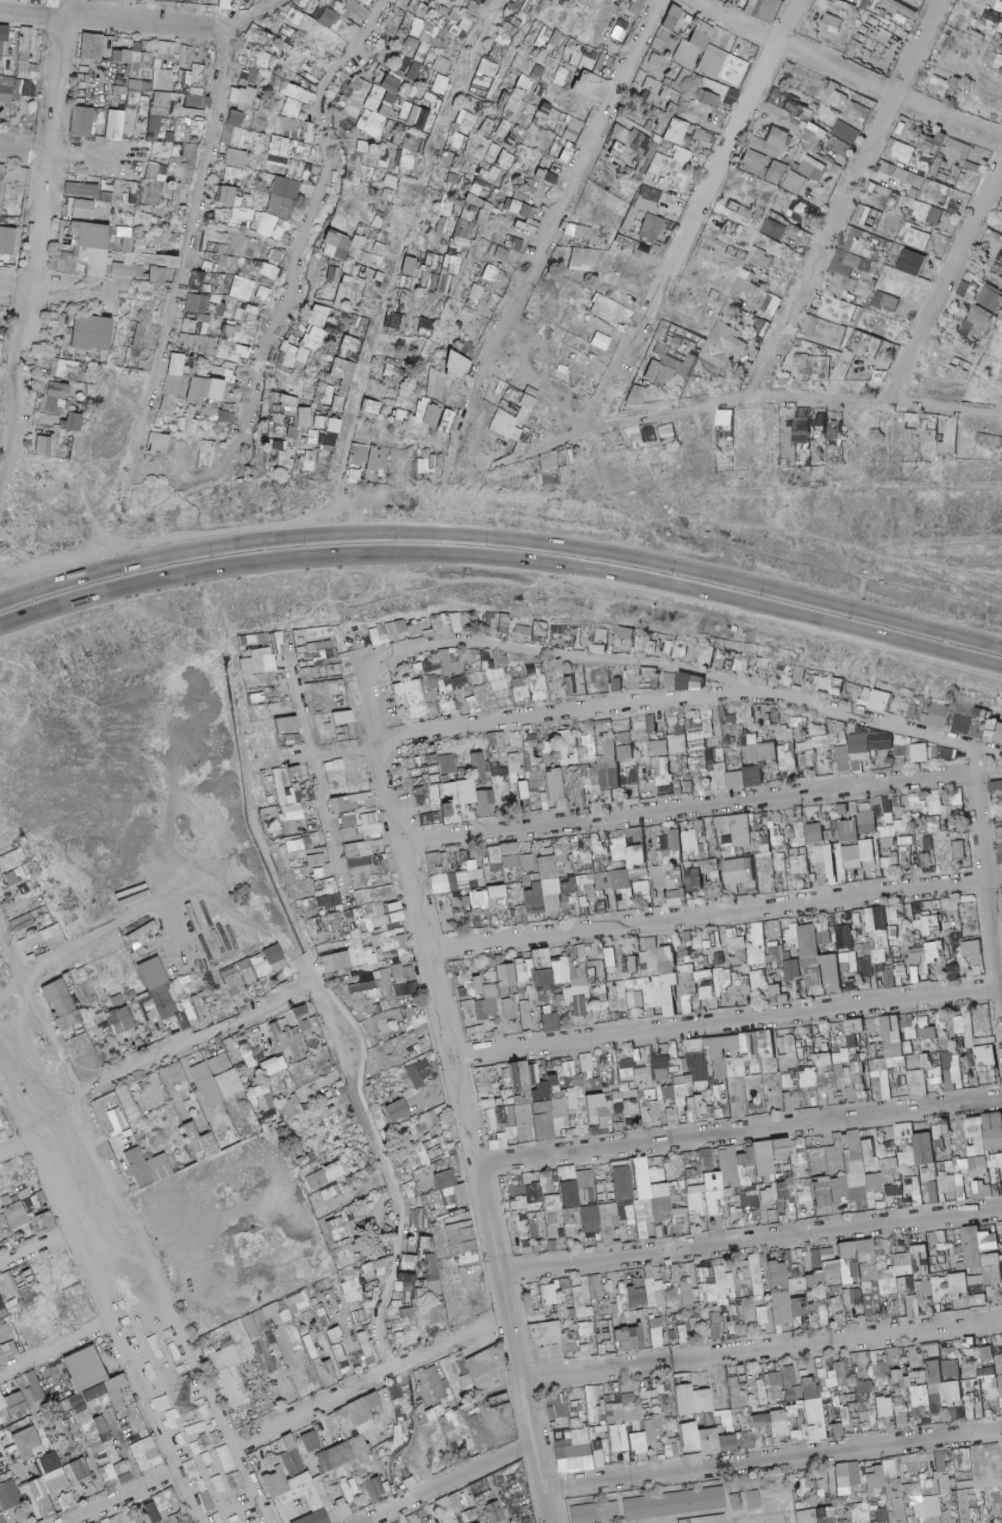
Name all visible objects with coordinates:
road: (33, 228)
power tower: (188, 1401)

